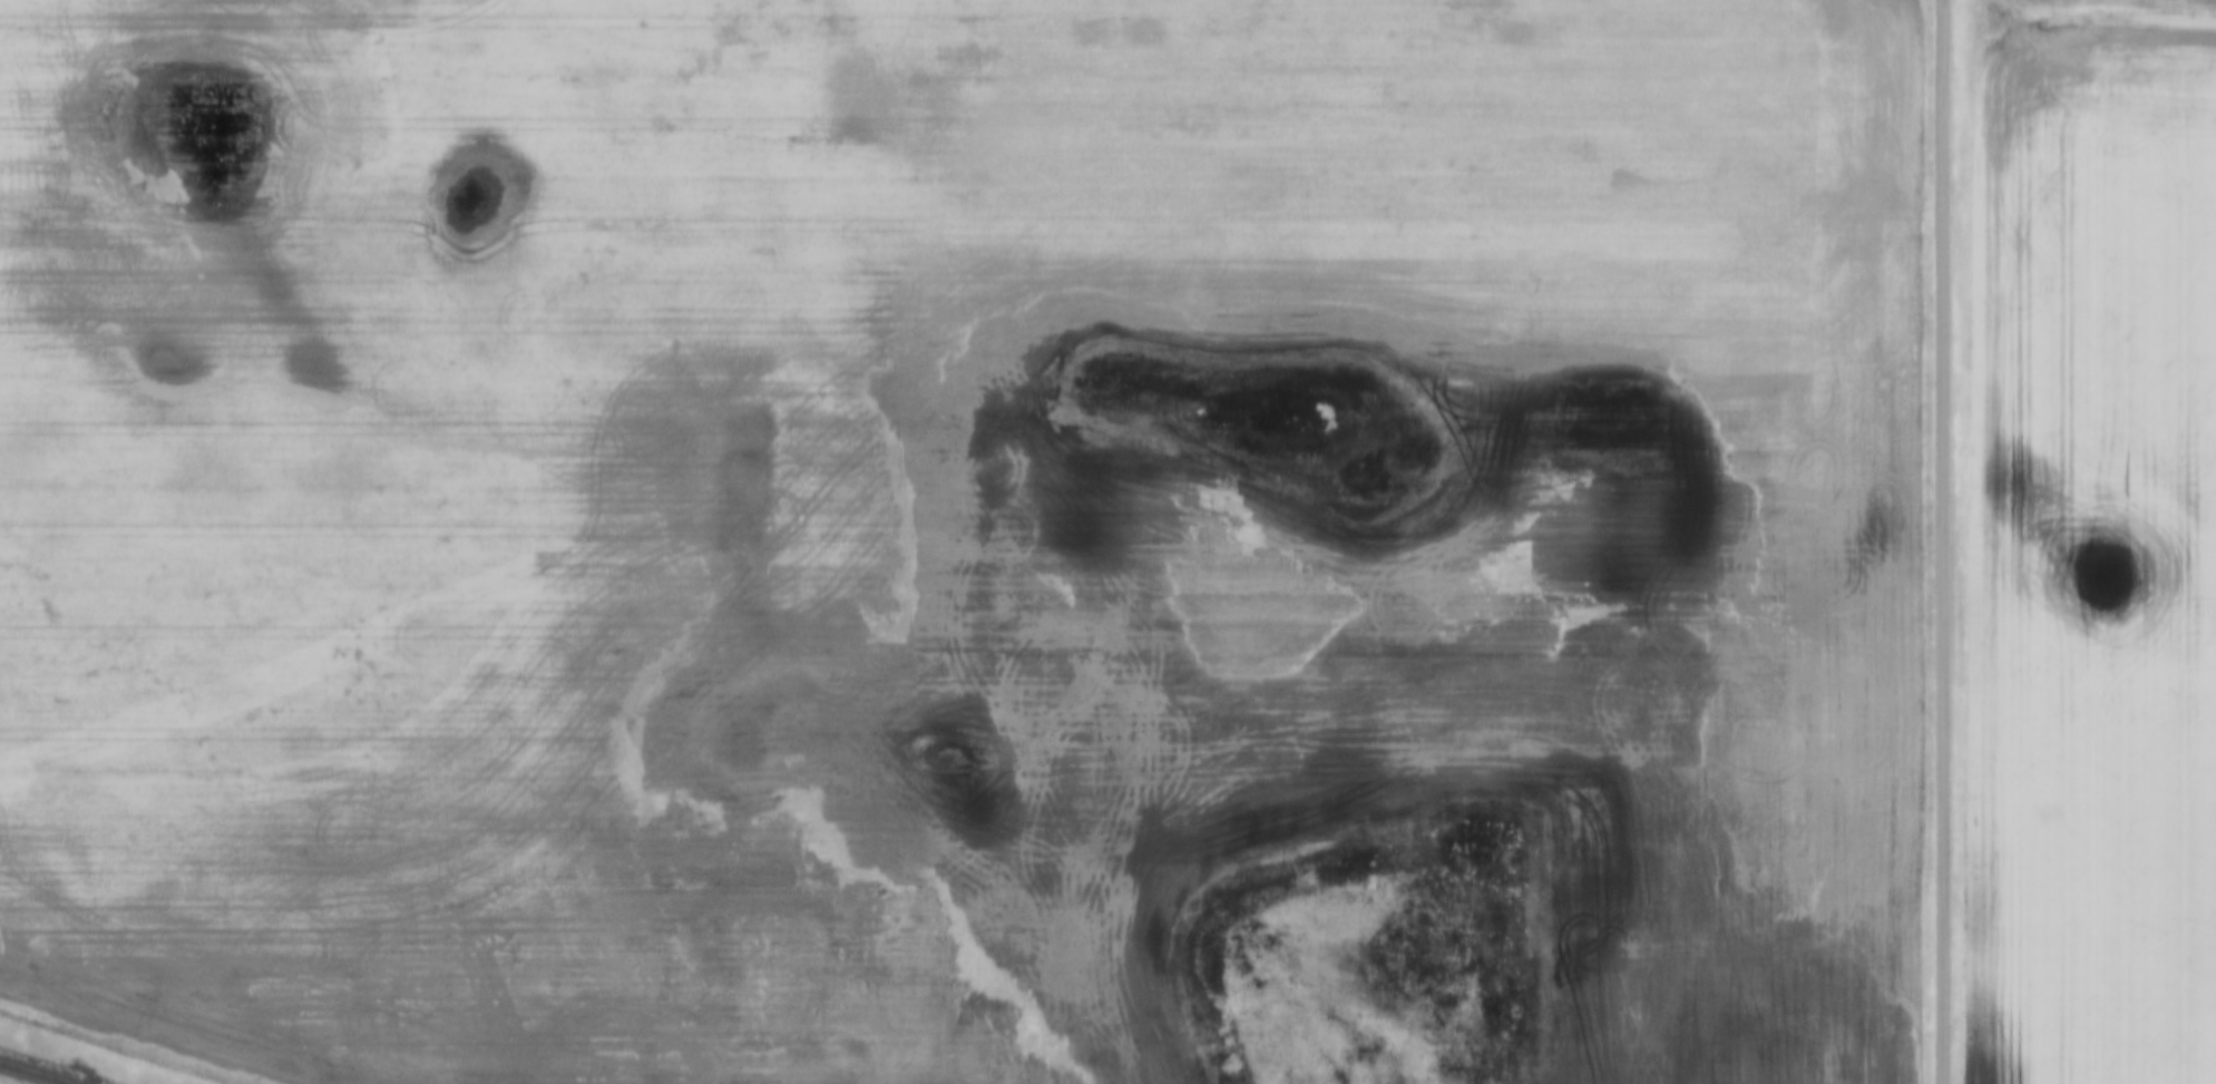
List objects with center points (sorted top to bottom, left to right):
road: (1941, 541)
crop: (2095, 553)
railway: (30, 1074)

